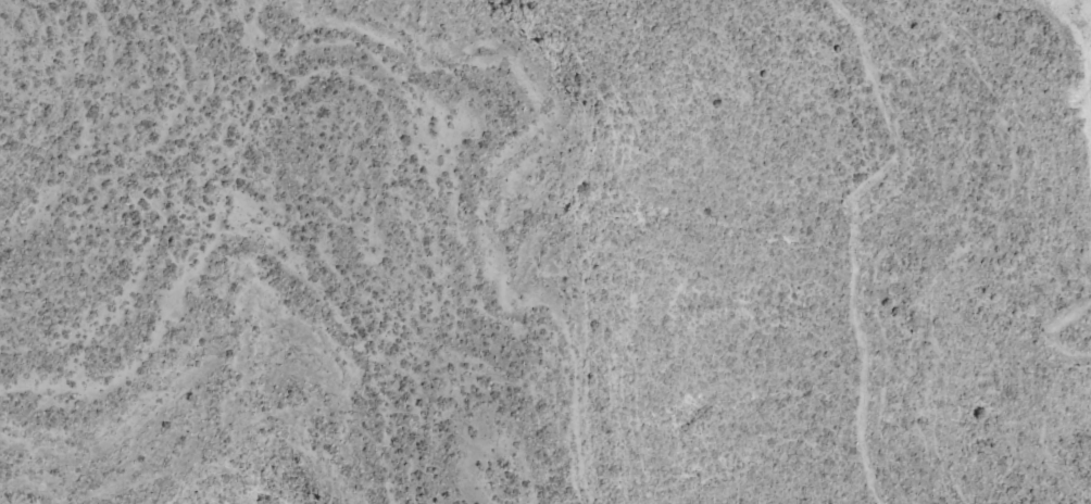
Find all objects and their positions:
road: (1084, 52)
road: (1083, 253)

